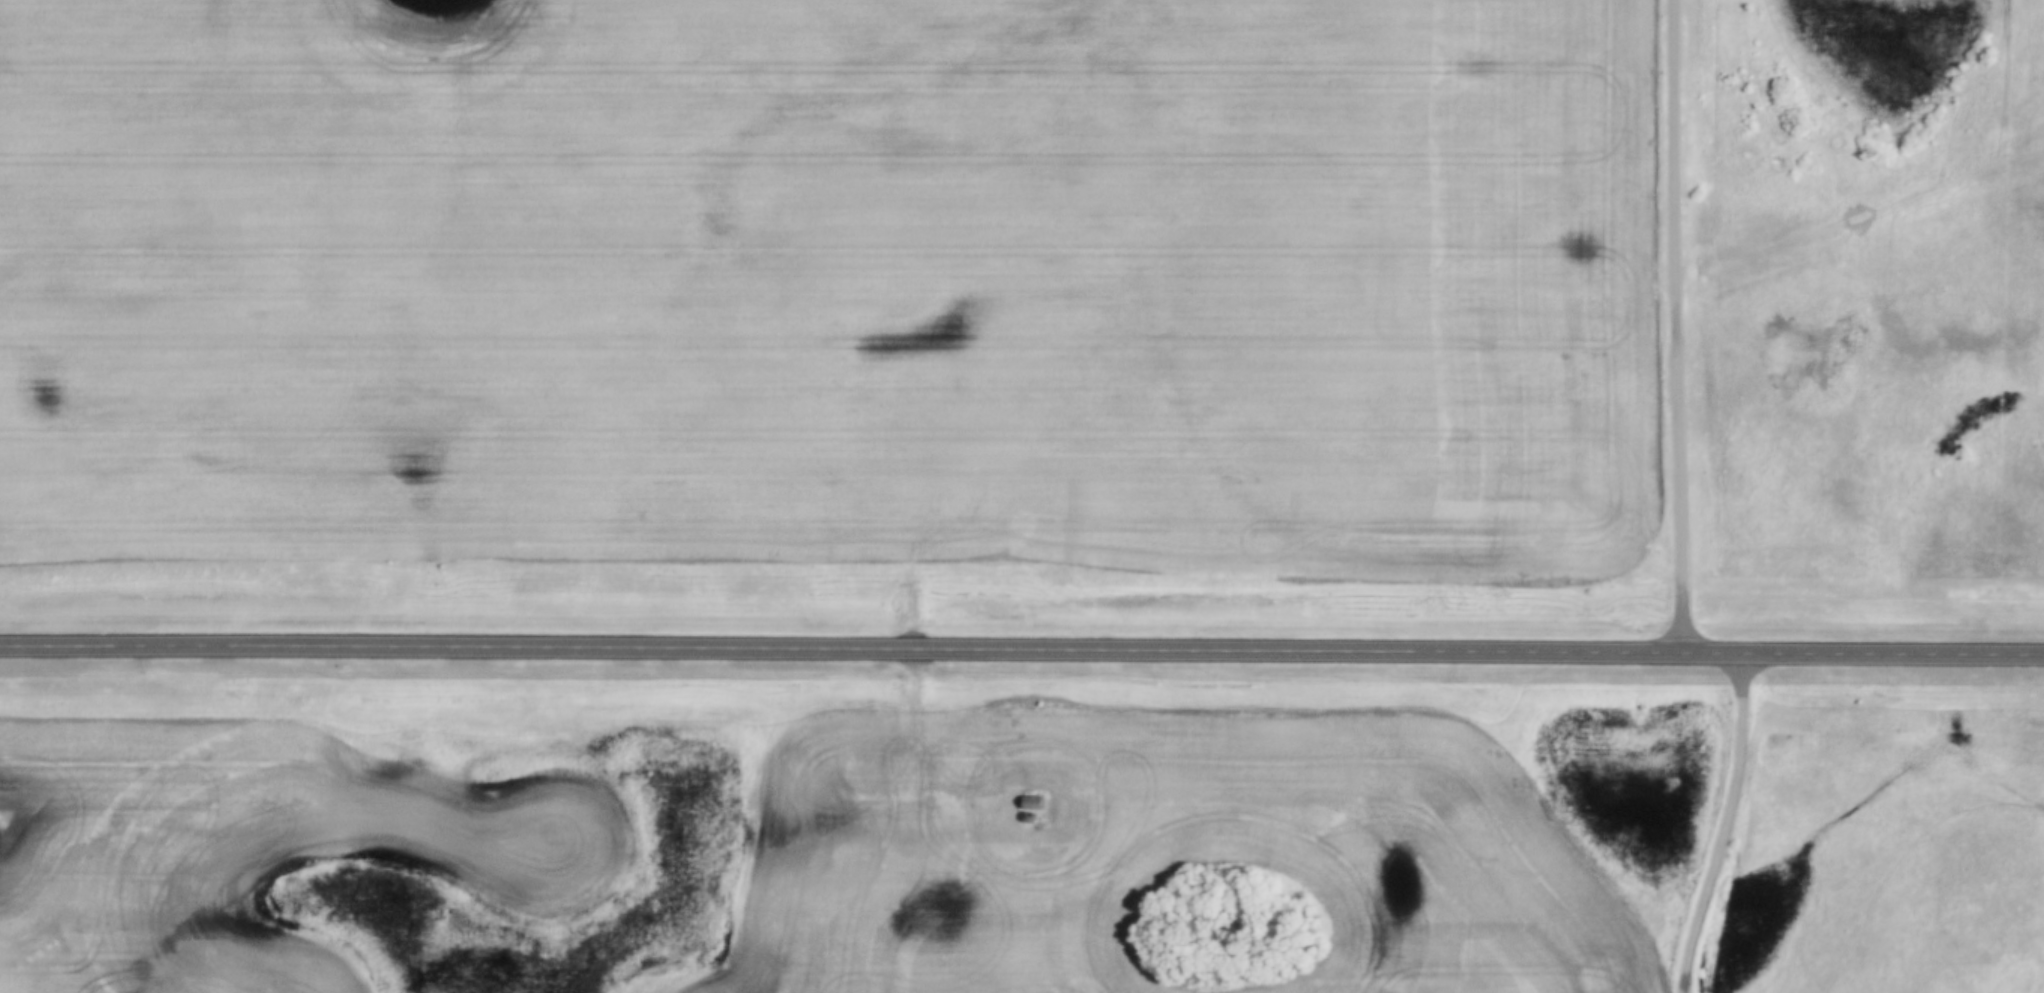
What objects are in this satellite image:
road: (1680, 325)
road: (1021, 648)
building: (1035, 804)
road: (1726, 824)

